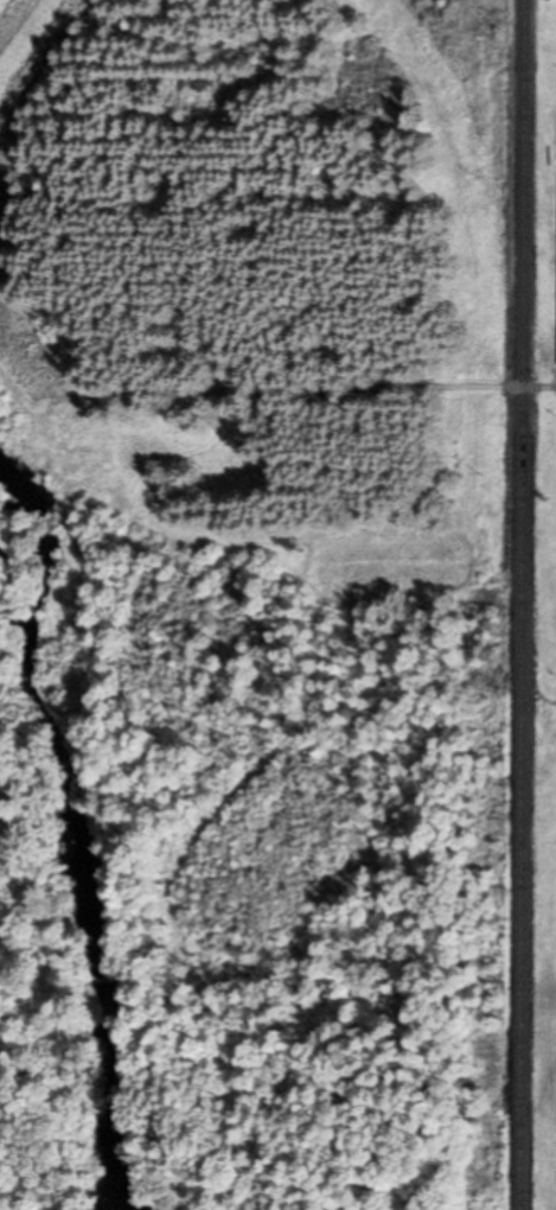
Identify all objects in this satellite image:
railway: (525, 604)

